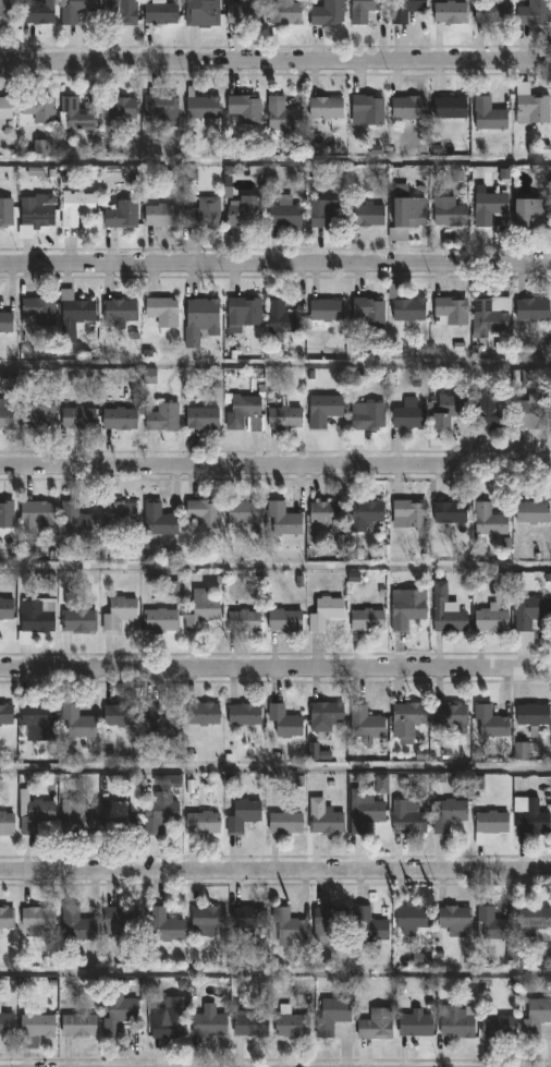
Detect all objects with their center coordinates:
building: (74, 10)
building: (363, 10)
building: (405, 10)
building: (5, 11)
building: (35, 11)
building: (159, 11)
building: (242, 11)
building: (449, 11)
building: (490, 11)
building: (120, 12)
building: (201, 12)
building: (283, 12)
building: (326, 12)
building: (532, 13)
road: (275, 61)
building: (407, 106)
building: (449, 106)
building: (118, 107)
building: (200, 107)
building: (244, 107)
building: (5, 108)
building: (36, 108)
building: (161, 108)
building: (325, 108)
building: (367, 108)
building: (531, 108)
building: (488, 113)
building: (74, 114)
building: (281, 116)
road: (275, 163)
building: (488, 204)
building: (74, 206)
building: (5, 210)
building: (244, 210)
building: (406, 210)
building: (448, 210)
building: (284, 211)
building: (119, 213)
building: (204, 213)
building: (530, 213)
building: (160, 214)
building: (328, 214)
building: (366, 214)
building: (33, 216)
road: (275, 263)
building: (405, 304)
building: (74, 305)
building: (531, 308)
building: (36, 310)
building: (325, 310)
building: (450, 310)
building: (119, 311)
building: (161, 311)
building: (243, 312)
building: (367, 312)
building: (199, 318)
building: (487, 318)
building: (280, 320)
building: (5, 322)
road: (275, 369)
building: (35, 409)
building: (242, 409)
building: (323, 409)
building: (446, 410)
building: (532, 411)
building: (488, 413)
building: (407, 414)
building: (284, 415)
building: (367, 415)
building: (4, 416)
building: (76, 417)
building: (119, 417)
building: (162, 417)
building: (200, 417)
road: (274, 468)
building: (242, 511)
building: (409, 511)
building: (449, 511)
building: (531, 511)
building: (117, 512)
building: (204, 512)
building: (326, 512)
building: (5, 513)
building: (365, 513)
building: (33, 518)
building: (158, 519)
building: (284, 519)
building: (77, 520)
building: (487, 521)
road: (275, 567)
building: (166, 582)
building: (5, 608)
building: (405, 608)
building: (199, 609)
building: (446, 610)
building: (529, 611)
building: (118, 613)
building: (323, 613)
building: (76, 615)
building: (36, 617)
building: (366, 619)
building: (490, 619)
building: (160, 620)
building: (243, 620)
building: (284, 620)
road: (274, 670)
building: (5, 713)
building: (200, 714)
building: (242, 714)
building: (119, 715)
building: (325, 715)
building: (450, 716)
building: (532, 716)
building: (37, 718)
building: (406, 719)
building: (489, 720)
building: (160, 722)
building: (284, 722)
building: (76, 723)
building: (365, 724)
building: (524, 751)
road: (275, 774)
building: (536, 809)
building: (158, 812)
building: (363, 812)
building: (35, 814)
building: (242, 815)
building: (449, 816)
building: (76, 817)
building: (122, 819)
building: (407, 820)
building: (5, 822)
building: (203, 822)
building: (325, 822)
building: (284, 823)
building: (490, 824)
road: (274, 872)
building: (38, 914)
building: (119, 917)
building: (248, 917)
building: (5, 918)
building: (207, 919)
building: (411, 919)
building: (452, 919)
building: (532, 920)
building: (328, 921)
building: (369, 923)
building: (491, 923)
building: (75, 924)
building: (164, 924)
building: (287, 924)
road: (274, 978)
building: (118, 1013)
building: (332, 1016)
building: (535, 1016)
building: (417, 1020)
building: (208, 1021)
building: (457, 1021)
building: (5, 1022)
building: (36, 1022)
building: (170, 1022)
building: (290, 1022)
building: (77, 1023)
building: (249, 1023)
building: (376, 1023)
building: (497, 1024)

